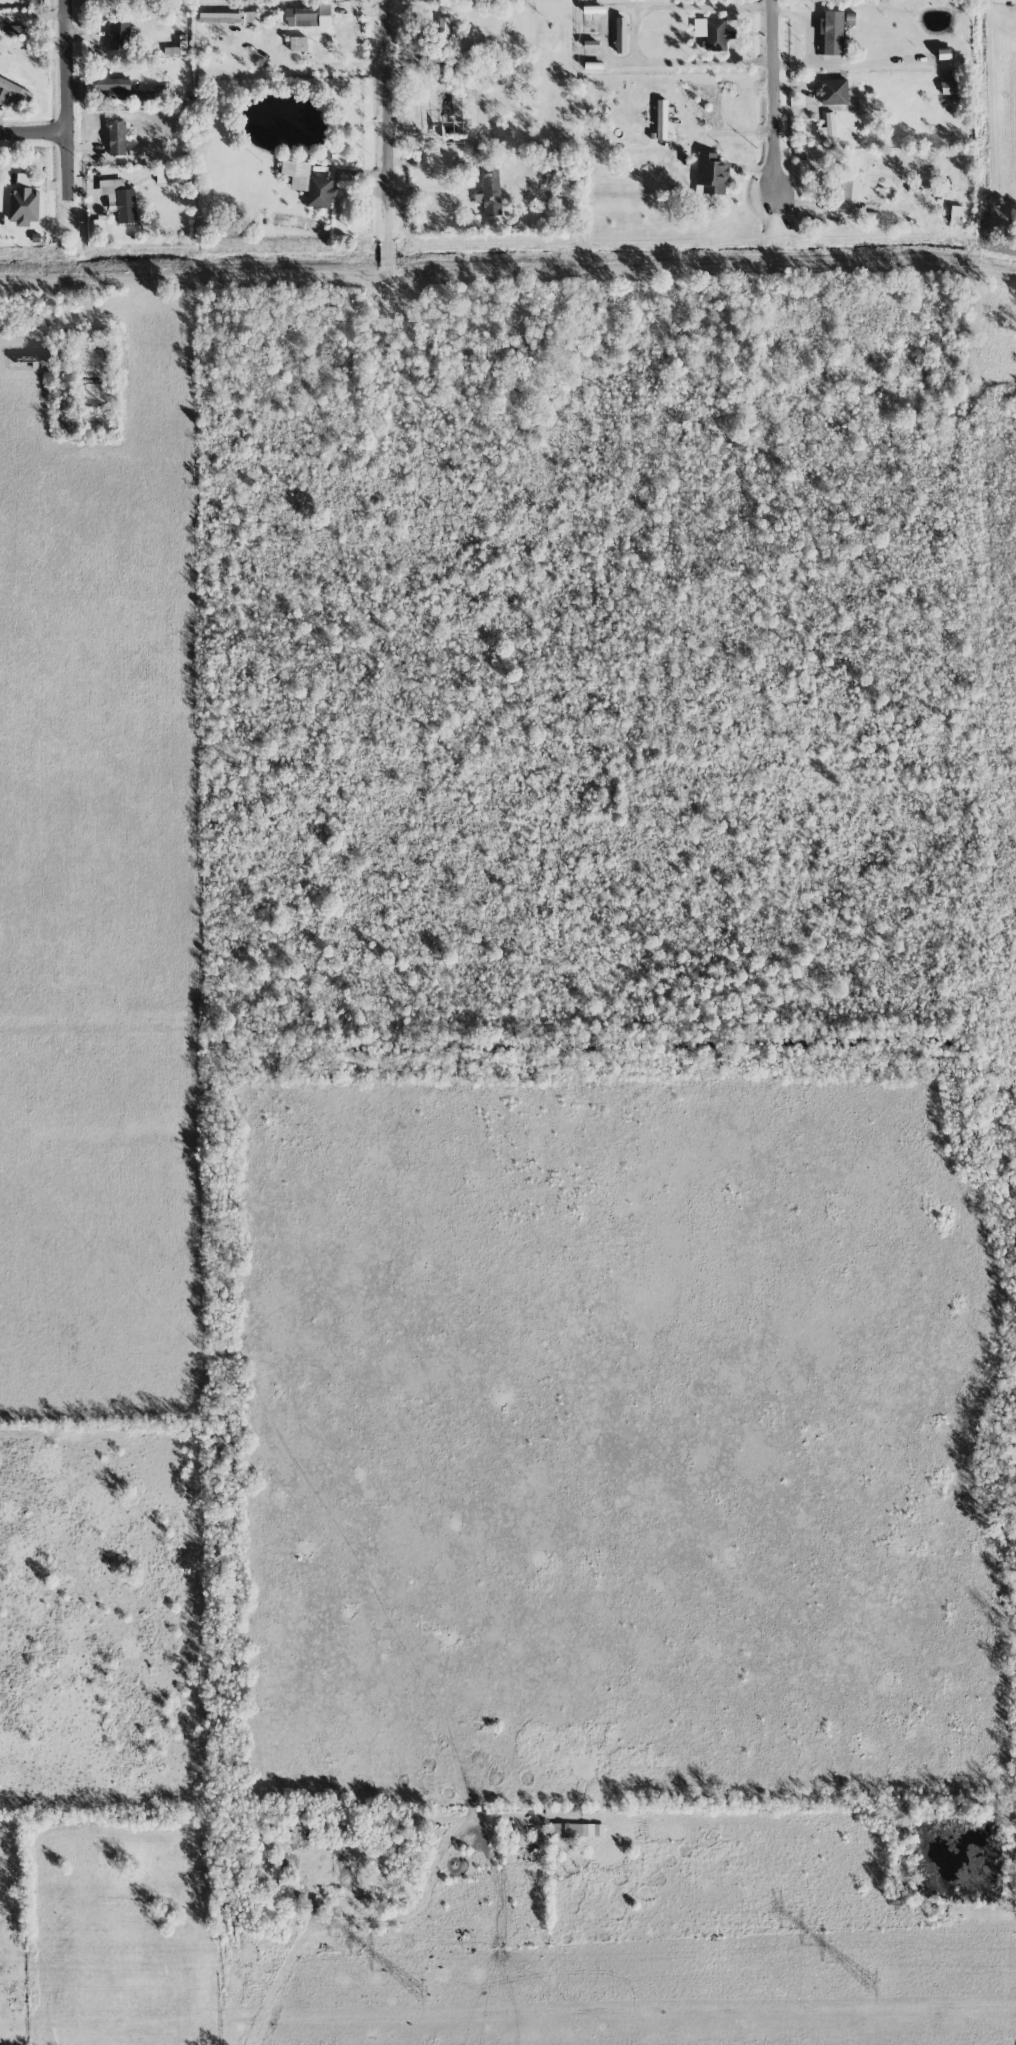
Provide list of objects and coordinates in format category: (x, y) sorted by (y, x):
building: (307, 16)
building: (219, 17)
building: (251, 18)
building: (443, 27)
building: (10, 30)
building: (713, 32)
building: (832, 32)
building: (119, 33)
building: (621, 35)
road: (633, 35)
building: (298, 43)
building: (590, 44)
building: (175, 50)
building: (943, 54)
road: (72, 67)
building: (949, 83)
building: (130, 90)
building: (833, 91)
building: (12, 92)
road: (771, 104)
building: (661, 119)
building: (828, 128)
building: (934, 132)
road: (37, 135)
road: (729, 136)
building: (116, 137)
road: (393, 138)
building: (711, 173)
building: (309, 183)
building: (851, 186)
building: (918, 189)
building: (490, 192)
building: (119, 199)
building: (23, 202)
building: (955, 214)
building: (93, 229)
road: (206, 276)
building: (577, 1830)
road: (455, 1837)
road: (305, 1936)
power tower: (873, 1985)
power tower: (422, 1995)

